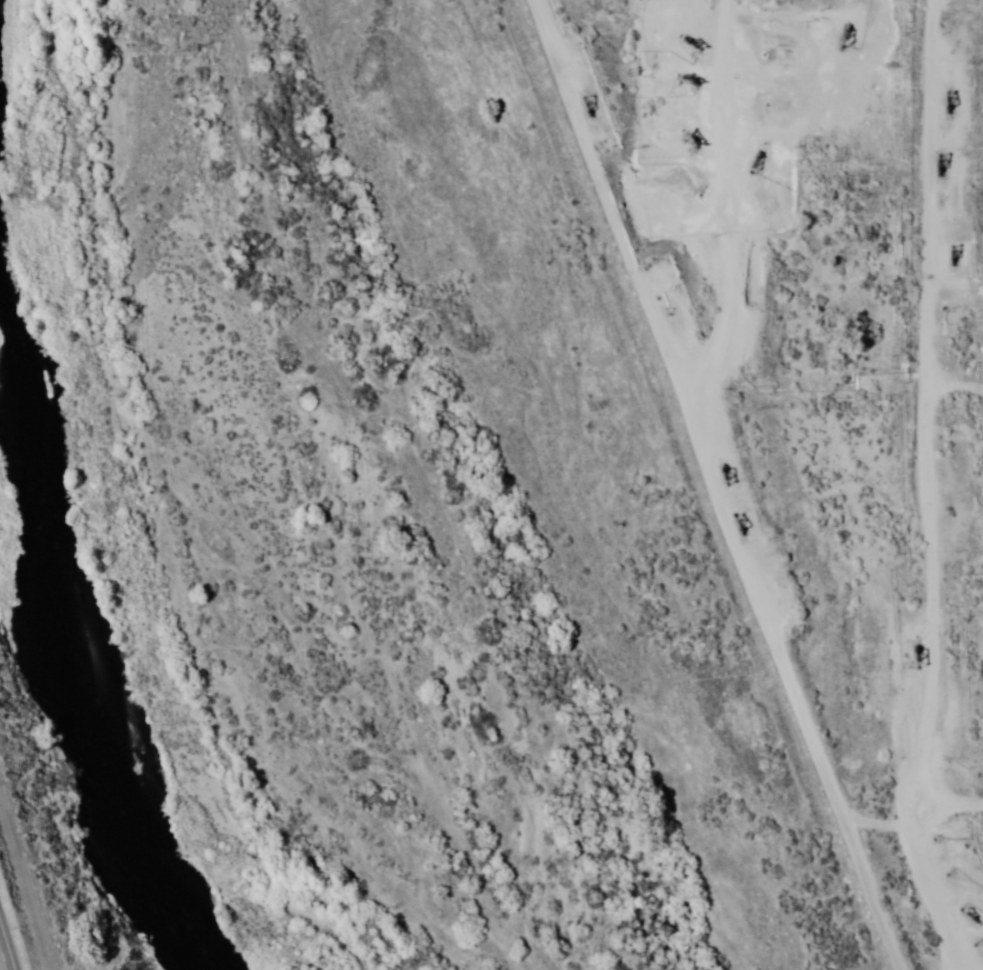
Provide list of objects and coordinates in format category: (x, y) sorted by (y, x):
road: (937, 24)
road: (713, 193)
road: (904, 410)
road: (753, 484)
river: (33, 503)
road: (25, 884)
road: (3, 959)

